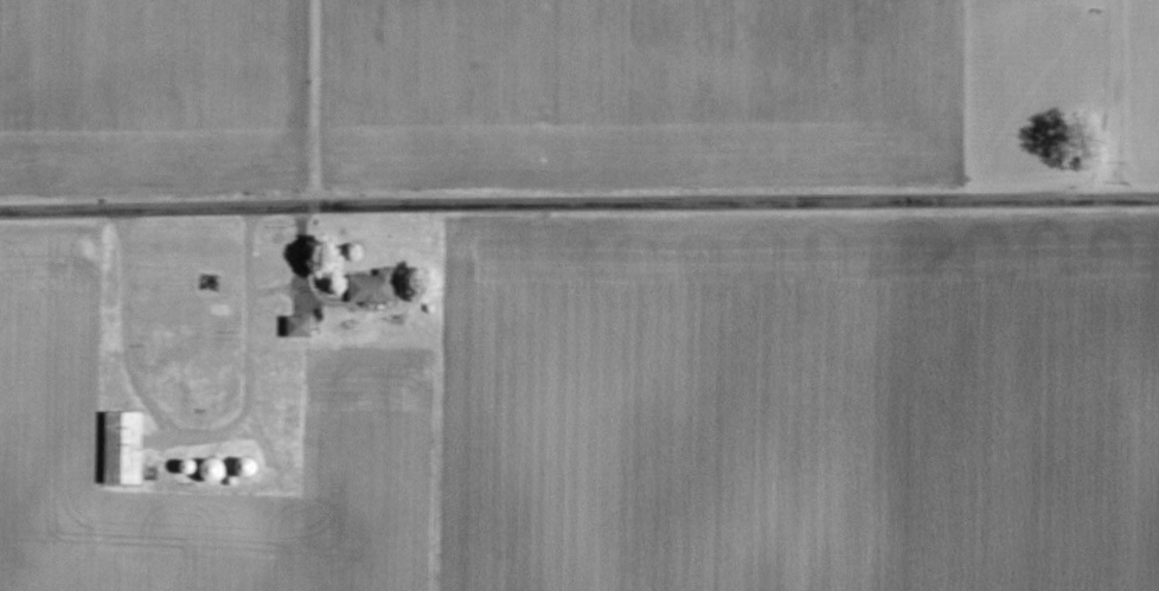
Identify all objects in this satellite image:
road: (1112, 91)
road: (578, 189)
road: (301, 269)
building: (371, 288)
building: (297, 326)
building: (105, 327)
road: (196, 439)
building: (123, 449)

